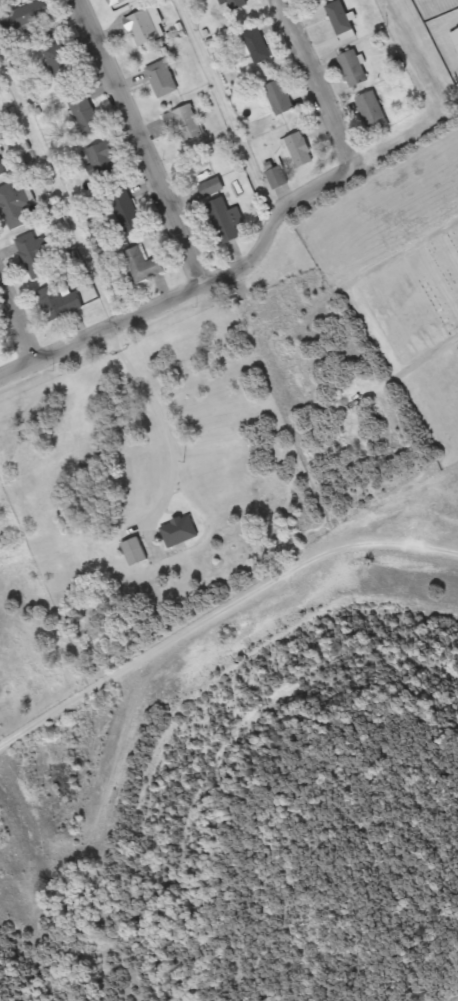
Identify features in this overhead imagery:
building: (316, 1)
building: (114, 2)
building: (232, 2)
building: (27, 17)
building: (143, 29)
building: (257, 46)
building: (61, 65)
building: (354, 69)
building: (162, 78)
building: (279, 97)
building: (372, 111)
building: (85, 113)
building: (186, 122)
road: (334, 127)
road: (139, 142)
building: (299, 150)
building: (102, 161)
building: (2, 168)
building: (212, 187)
building: (15, 206)
building: (127, 212)
building: (227, 221)
building: (36, 254)
building: (143, 265)
park: (399, 274)
building: (60, 301)
road: (145, 310)
road: (14, 330)
road: (429, 353)
road: (98, 383)
building: (178, 531)
building: (134, 551)
road: (219, 611)

